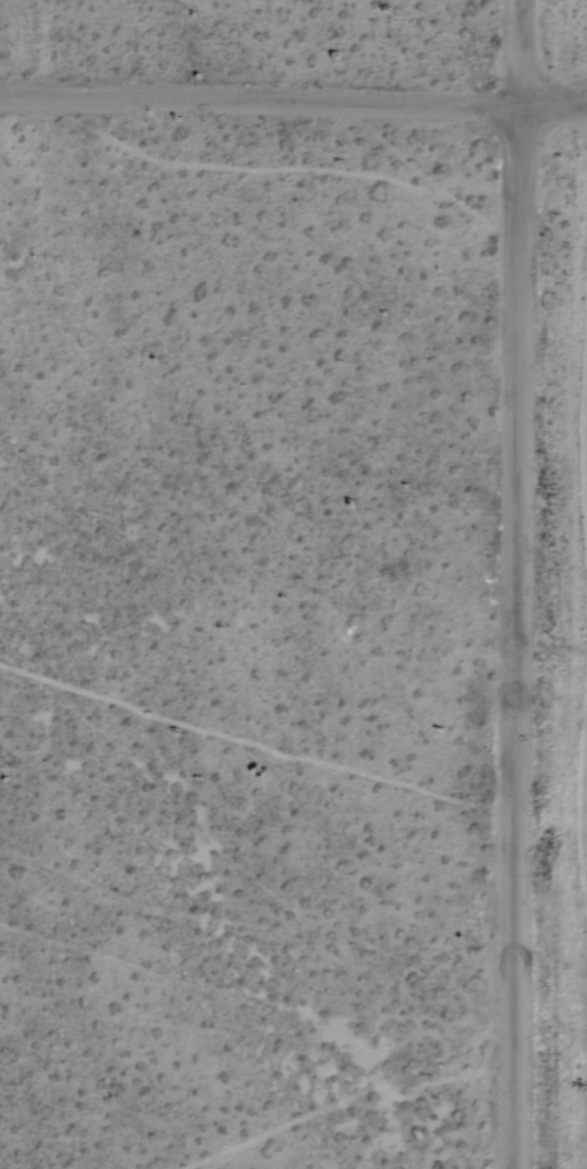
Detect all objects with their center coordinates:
road: (23, 48)
road: (293, 103)
road: (515, 583)
road: (257, 586)
road: (255, 1036)

